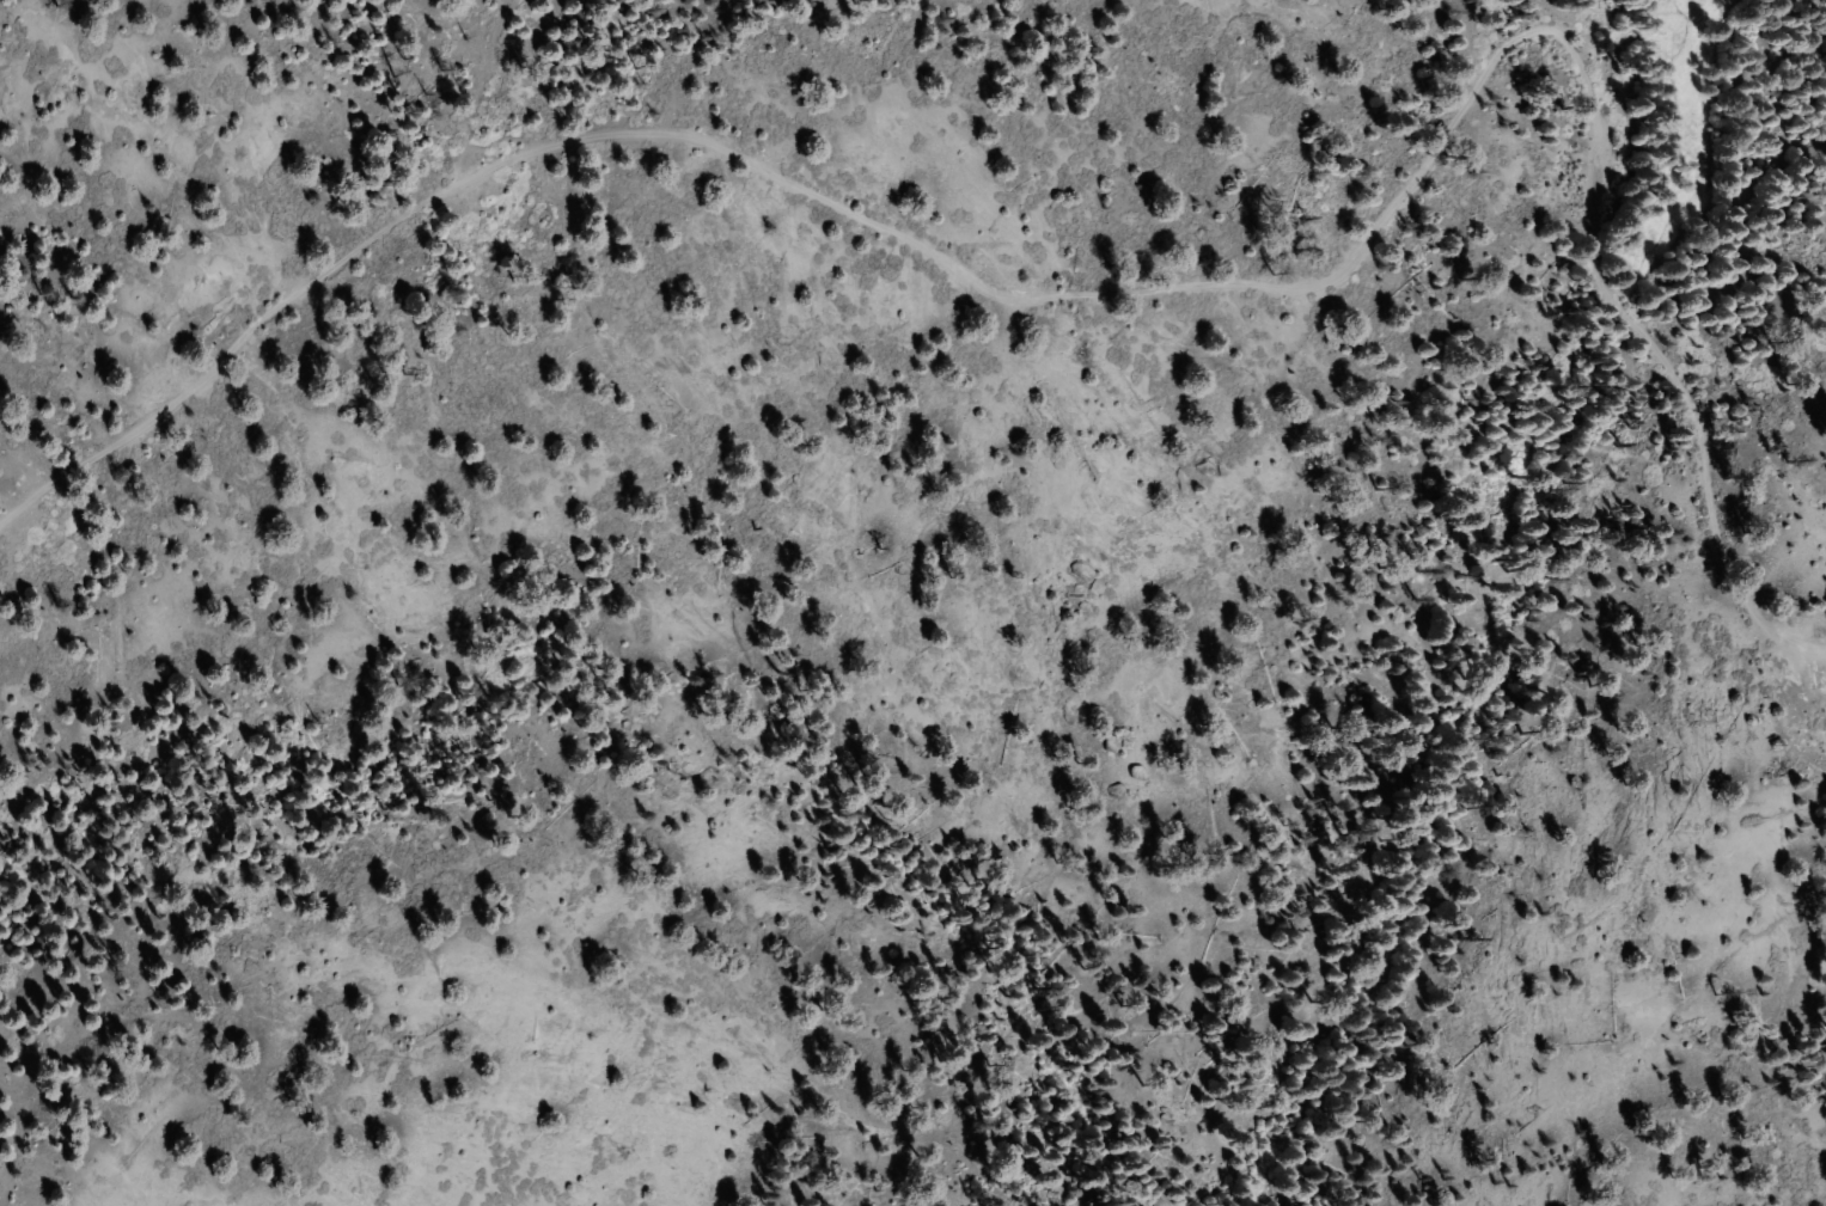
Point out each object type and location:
road: (1119, 295)

